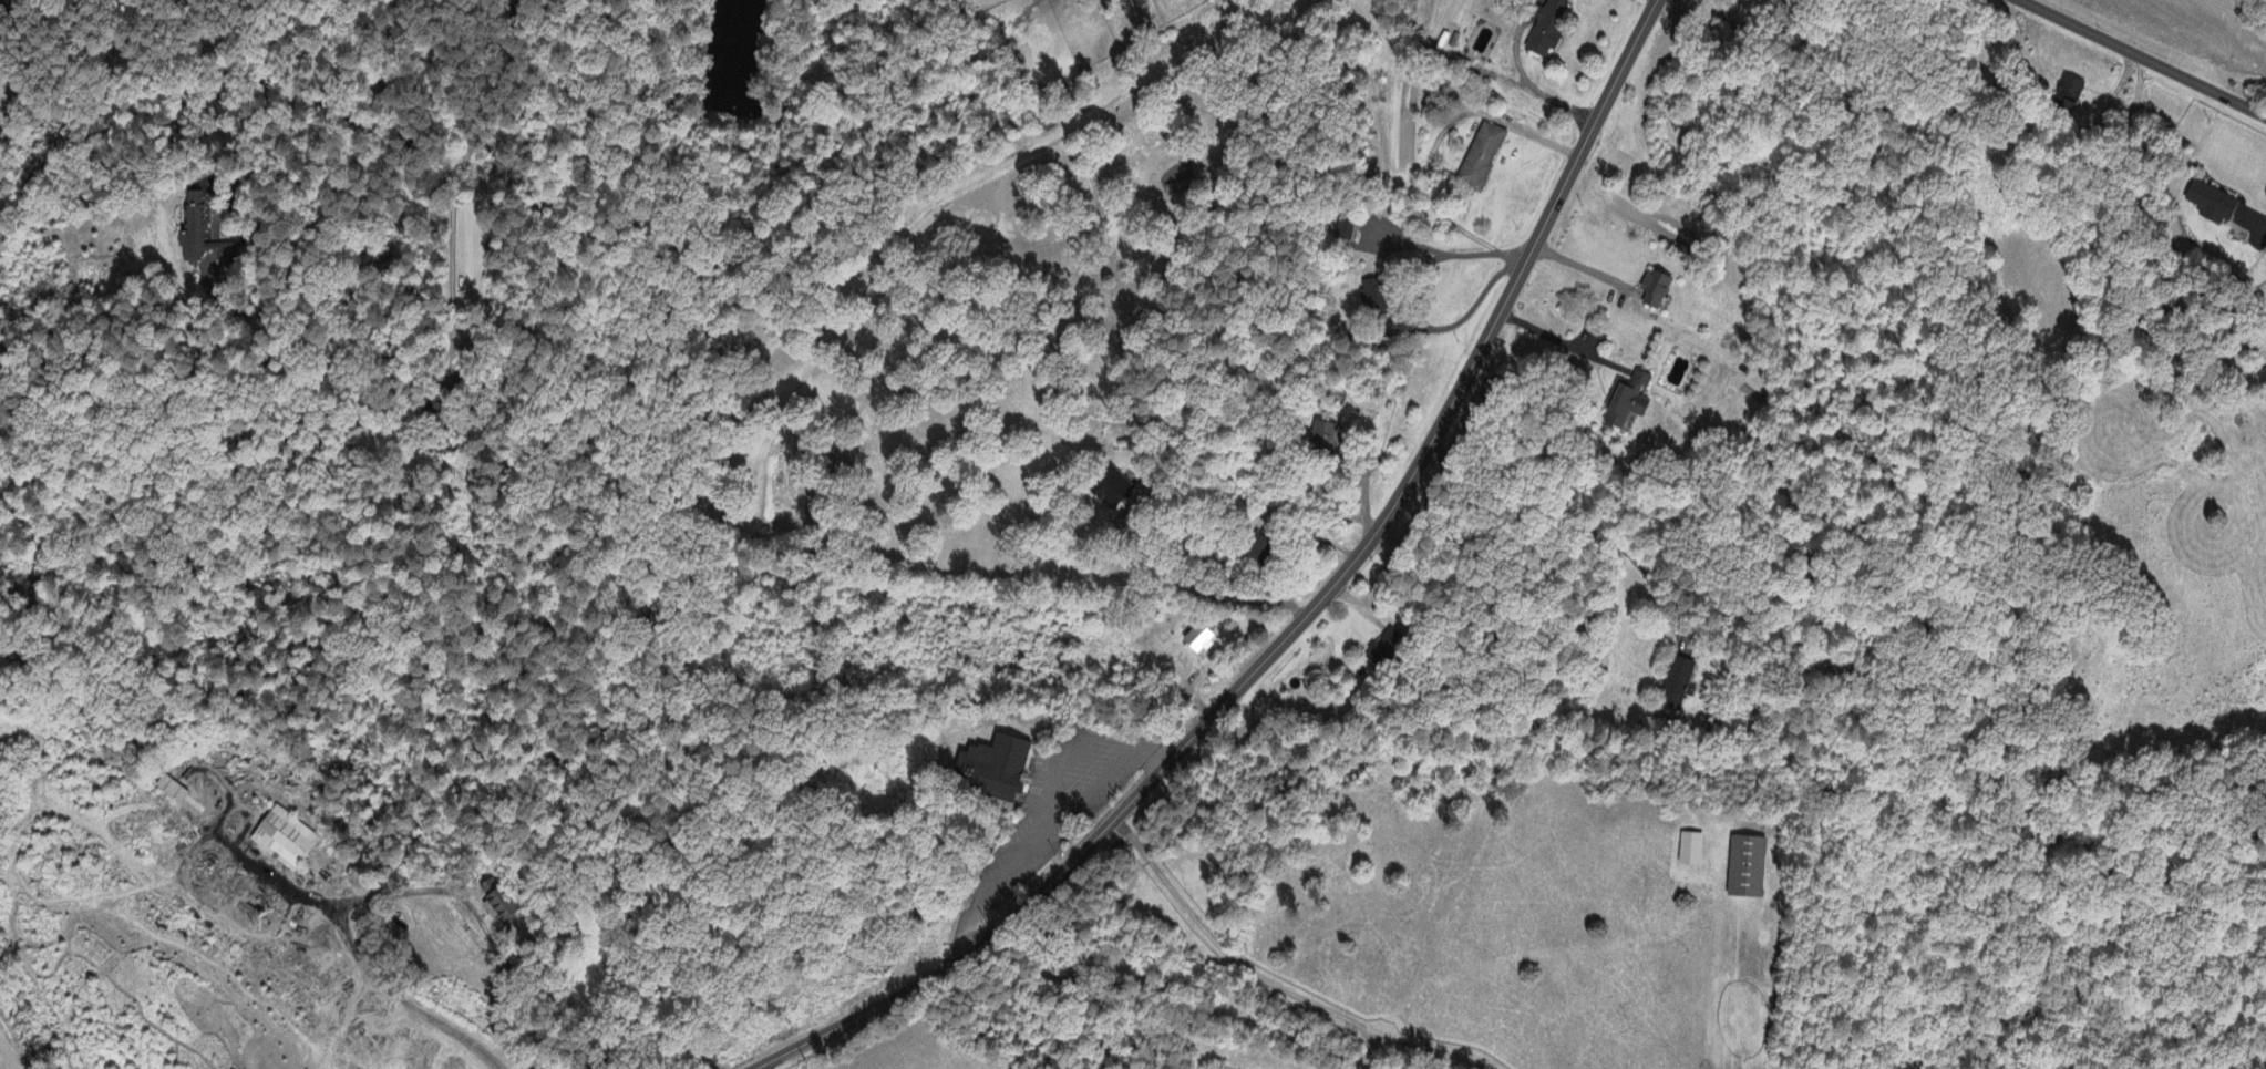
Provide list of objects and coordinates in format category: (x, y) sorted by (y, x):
building: (1316, 1)
building: (1547, 28)
road: (2142, 59)
road: (1525, 80)
building: (2070, 90)
road: (1544, 142)
road: (363, 153)
building: (1481, 157)
road: (462, 168)
building: (1173, 189)
building: (2212, 203)
road: (2258, 227)
building: (1345, 230)
building: (202, 235)
road: (1585, 268)
building: (1655, 289)
building: (1372, 296)
road: (1472, 309)
road: (1558, 342)
road: (1462, 387)
building: (1627, 402)
building: (1323, 434)
building: (1111, 490)
road: (1576, 521)
building: (1260, 551)
road: (1204, 590)
building: (1197, 640)
building: (1387, 649)
building: (1676, 685)
building: (993, 770)
building: (171, 788)
road: (1037, 810)
road: (1072, 815)
building: (284, 839)
building: (1690, 851)
building: (1747, 866)
building: (228, 887)
building: (499, 901)
road: (478, 918)
road: (1005, 926)
road: (354, 953)
road: (1275, 985)

